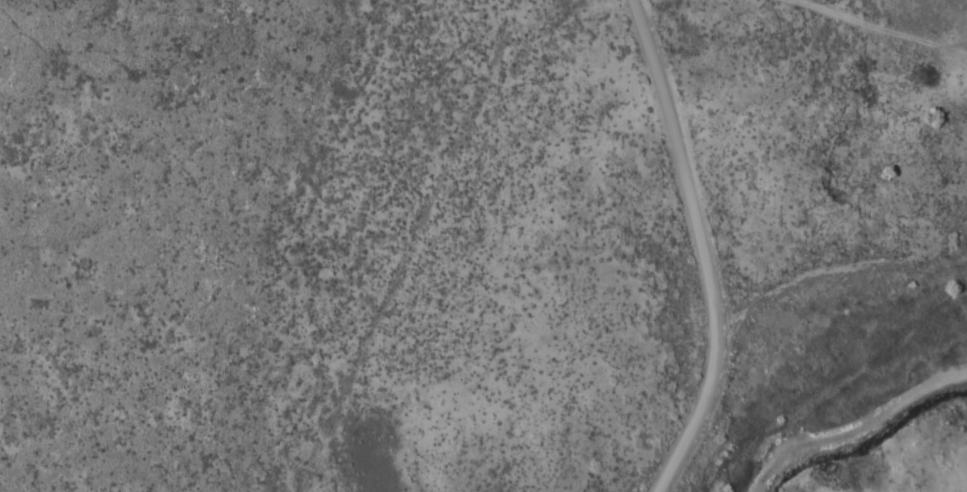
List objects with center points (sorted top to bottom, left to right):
road: (705, 248)

